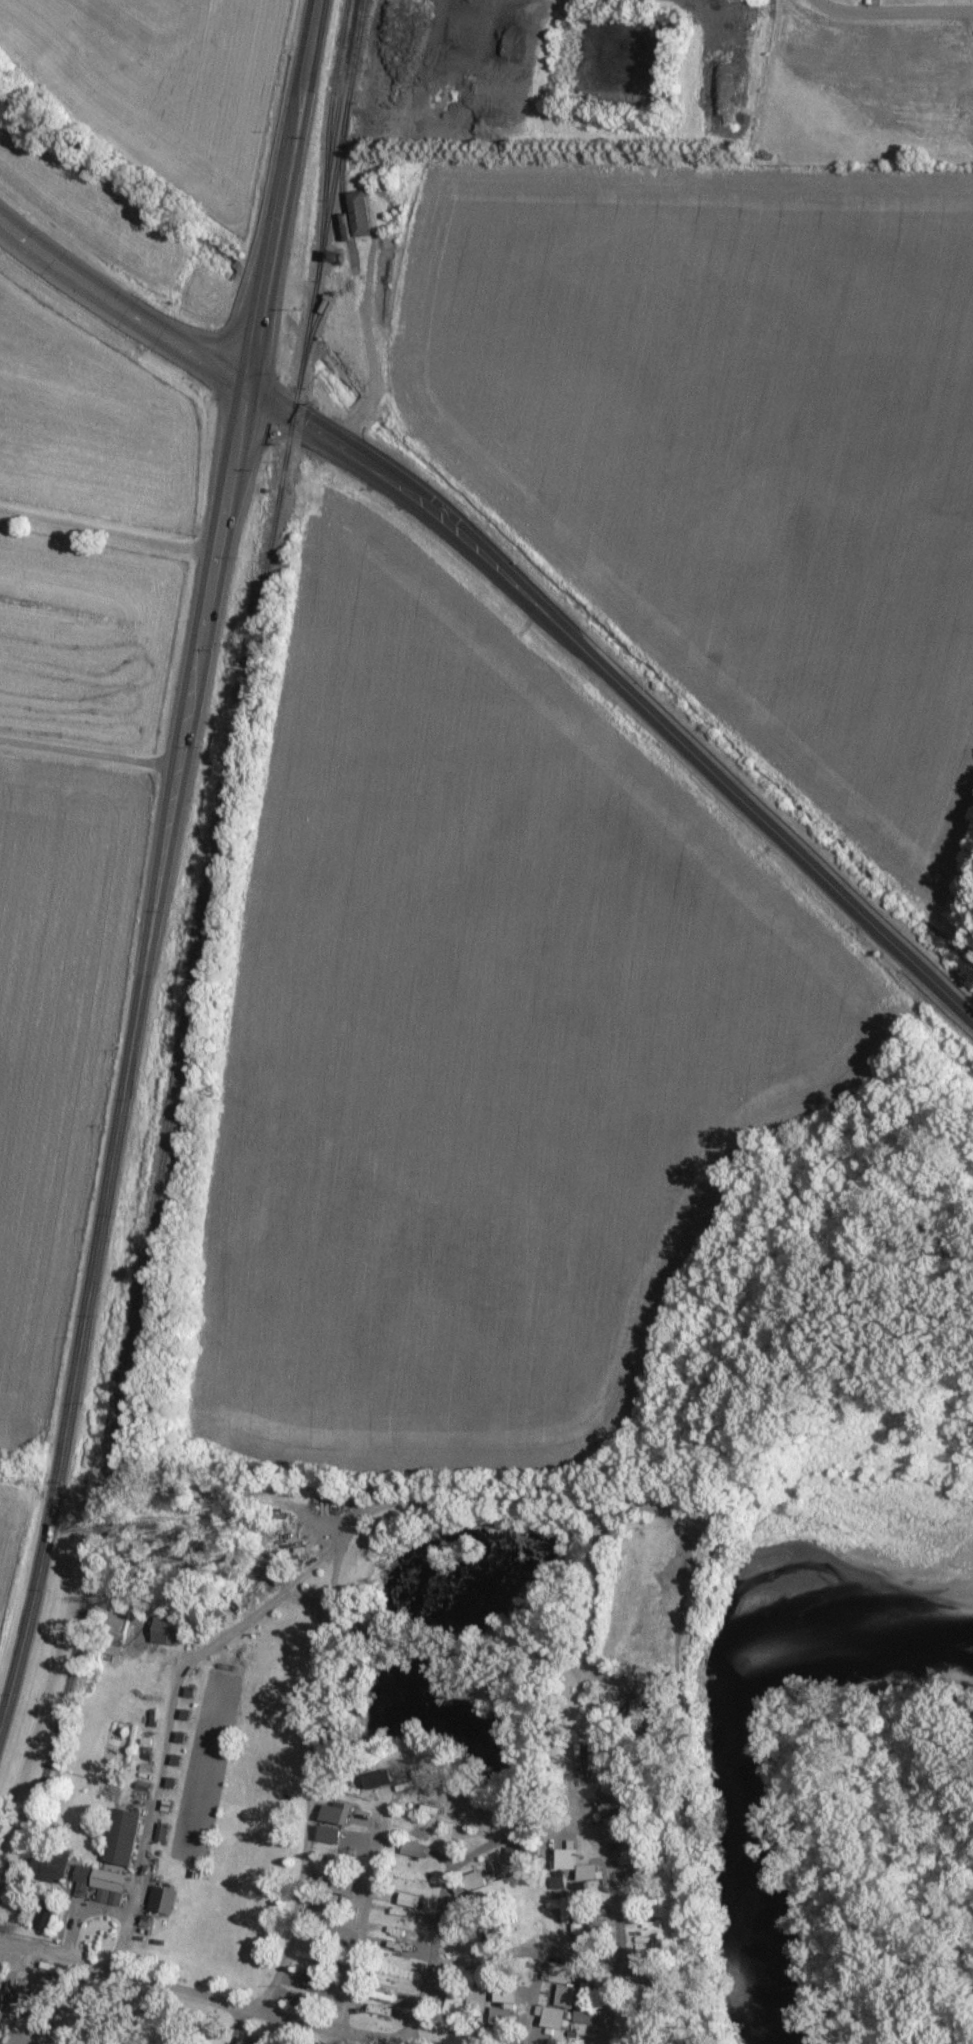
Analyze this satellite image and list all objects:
road: (894, 9)
power substation: (862, 83)
railway: (341, 101)
railway: (327, 141)
railway: (341, 185)
building: (359, 215)
road: (120, 308)
railway: (310, 340)
road: (107, 531)
road: (622, 683)
road: (88, 752)
road: (159, 864)
railway: (202, 942)
road: (364, 1512)
road: (308, 1605)
building: (166, 1632)
river: (730, 1700)
building: (635, 1706)
building: (608, 1709)
road: (314, 1765)
building: (602, 1774)
building: (379, 1778)
building: (332, 1821)
road: (535, 1833)
building: (123, 1836)
building: (414, 1849)
building: (514, 1856)
building: (566, 1856)
building: (49, 1864)
building: (588, 1871)
building: (469, 1882)
building: (162, 1899)
building: (409, 1900)
building: (44, 1913)
road: (81, 1914)
road: (523, 1951)
building: (640, 1966)
building: (562, 1984)
road: (52, 1990)
road: (198, 1998)
road: (534, 1998)
building: (456, 2005)
building: (585, 2015)
building: (551, 2016)
building: (498, 2017)
road: (64, 2022)

